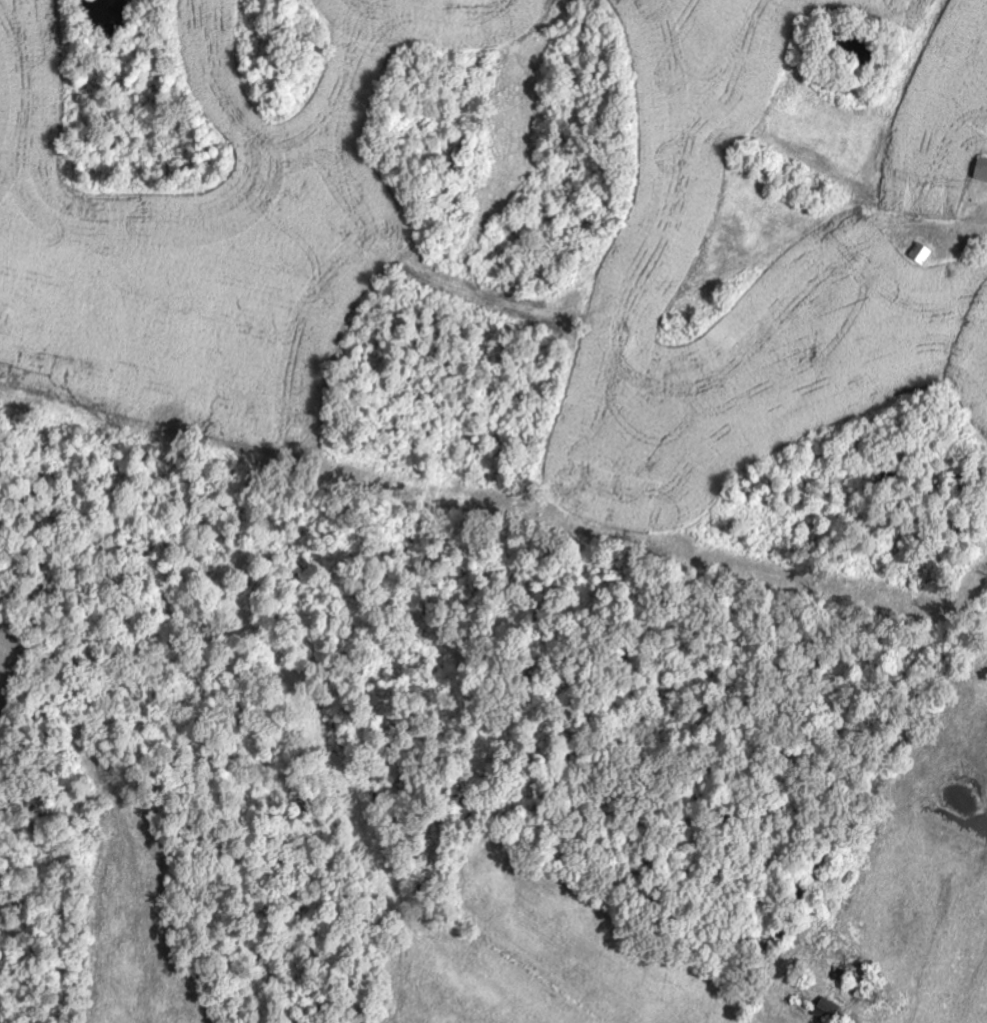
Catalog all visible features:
building: (980, 170)
building: (920, 253)

